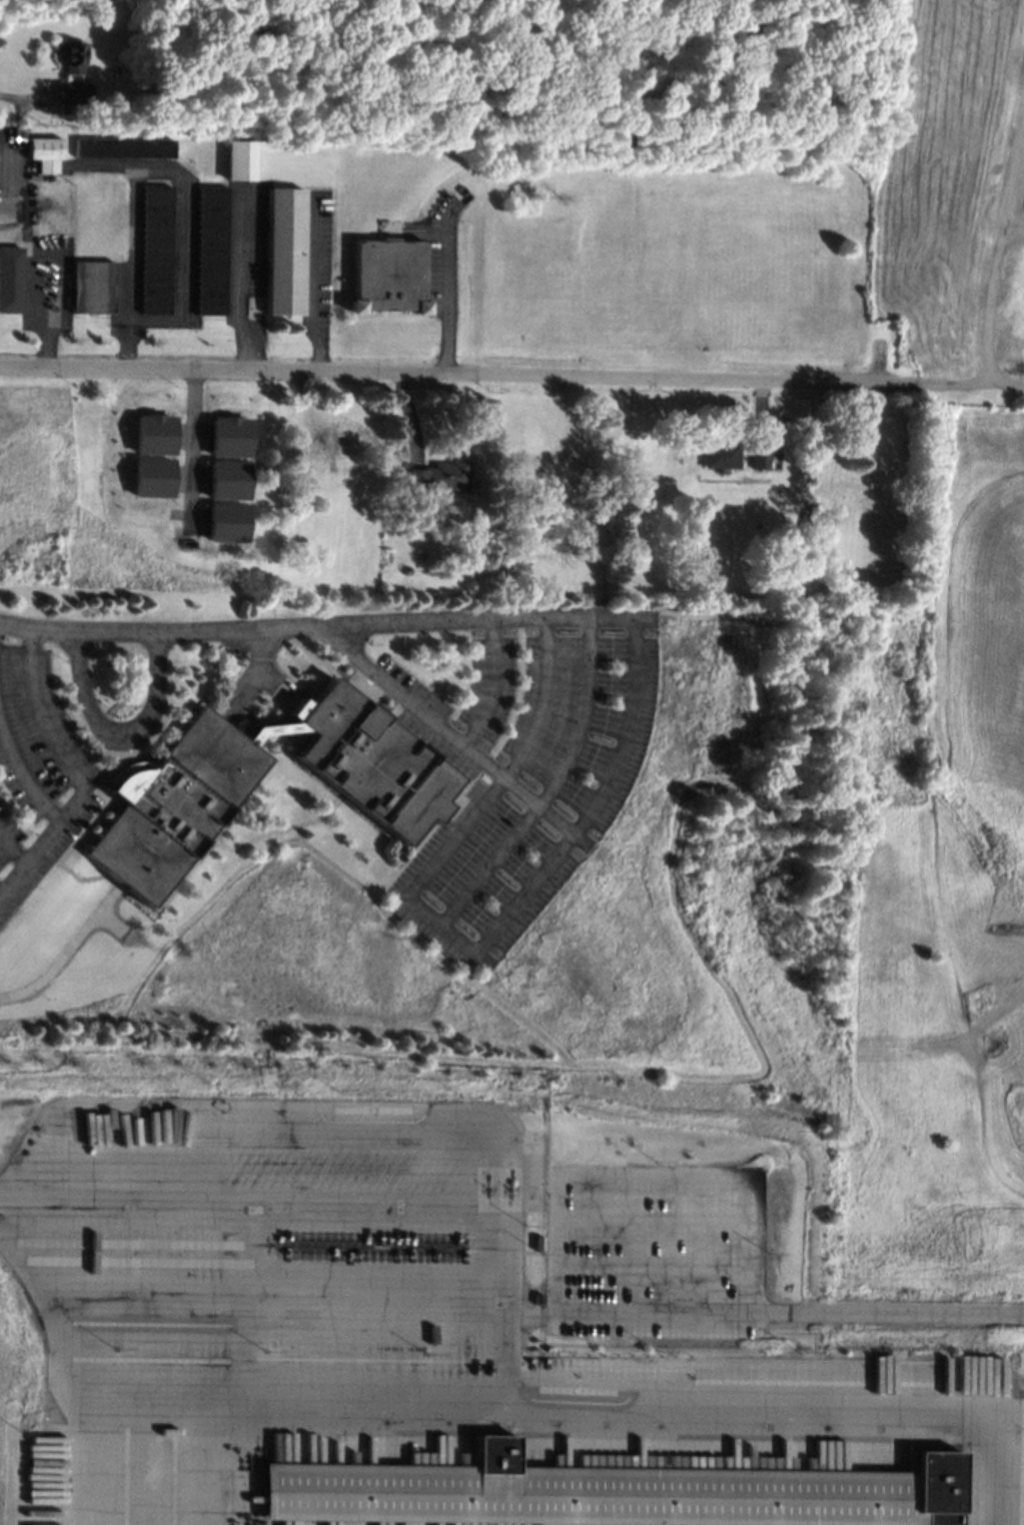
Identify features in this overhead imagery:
building: (70, 57)
building: (72, 92)
road: (17, 100)
building: (122, 147)
building: (43, 153)
building: (239, 160)
road: (162, 172)
road: (3, 209)
road: (1002, 248)
building: (155, 249)
building: (211, 250)
road: (47, 251)
building: (285, 251)
building: (389, 277)
building: (10, 279)
road: (238, 281)
road: (312, 283)
building: (91, 287)
road: (447, 294)
road: (47, 348)
road: (493, 374)
road: (1005, 385)
building: (152, 434)
building: (228, 437)
road: (191, 439)
building: (720, 454)
building: (758, 456)
building: (437, 475)
building: (151, 477)
building: (227, 479)
building: (803, 516)
building: (226, 522)
building: (804, 526)
road: (324, 624)
building: (227, 654)
road: (491, 684)
road: (124, 737)
road: (23, 772)
road: (74, 775)
parking lot: (521, 778)
parking lot: (37, 779)
building: (176, 784)
road: (554, 786)
road: (541, 802)
road: (934, 824)
road: (275, 829)
road: (15, 846)
road: (433, 868)
road: (2, 890)
road: (68, 951)
road: (988, 1027)
building: (537, 1243)
parking lot: (656, 1250)
building: (537, 1299)
road: (624, 1308)
road: (886, 1312)
road: (499, 1350)
building: (608, 1492)

